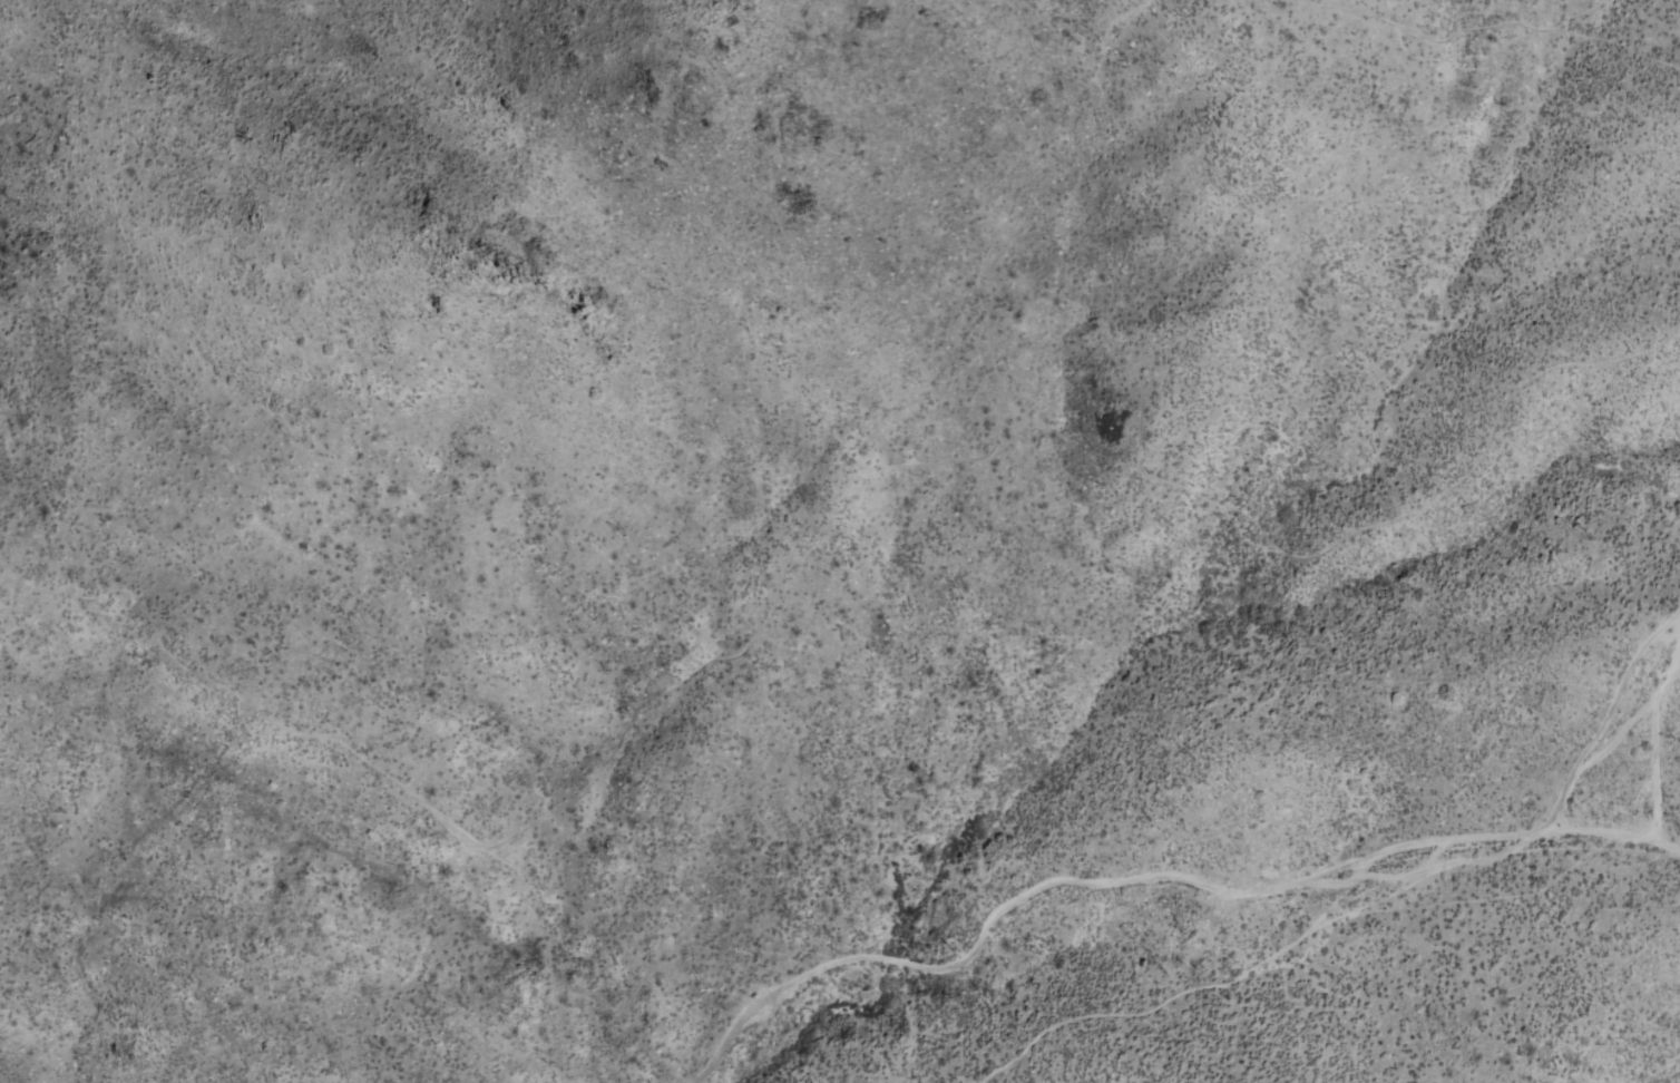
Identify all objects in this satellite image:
road: (1145, 876)
road: (1180, 995)

